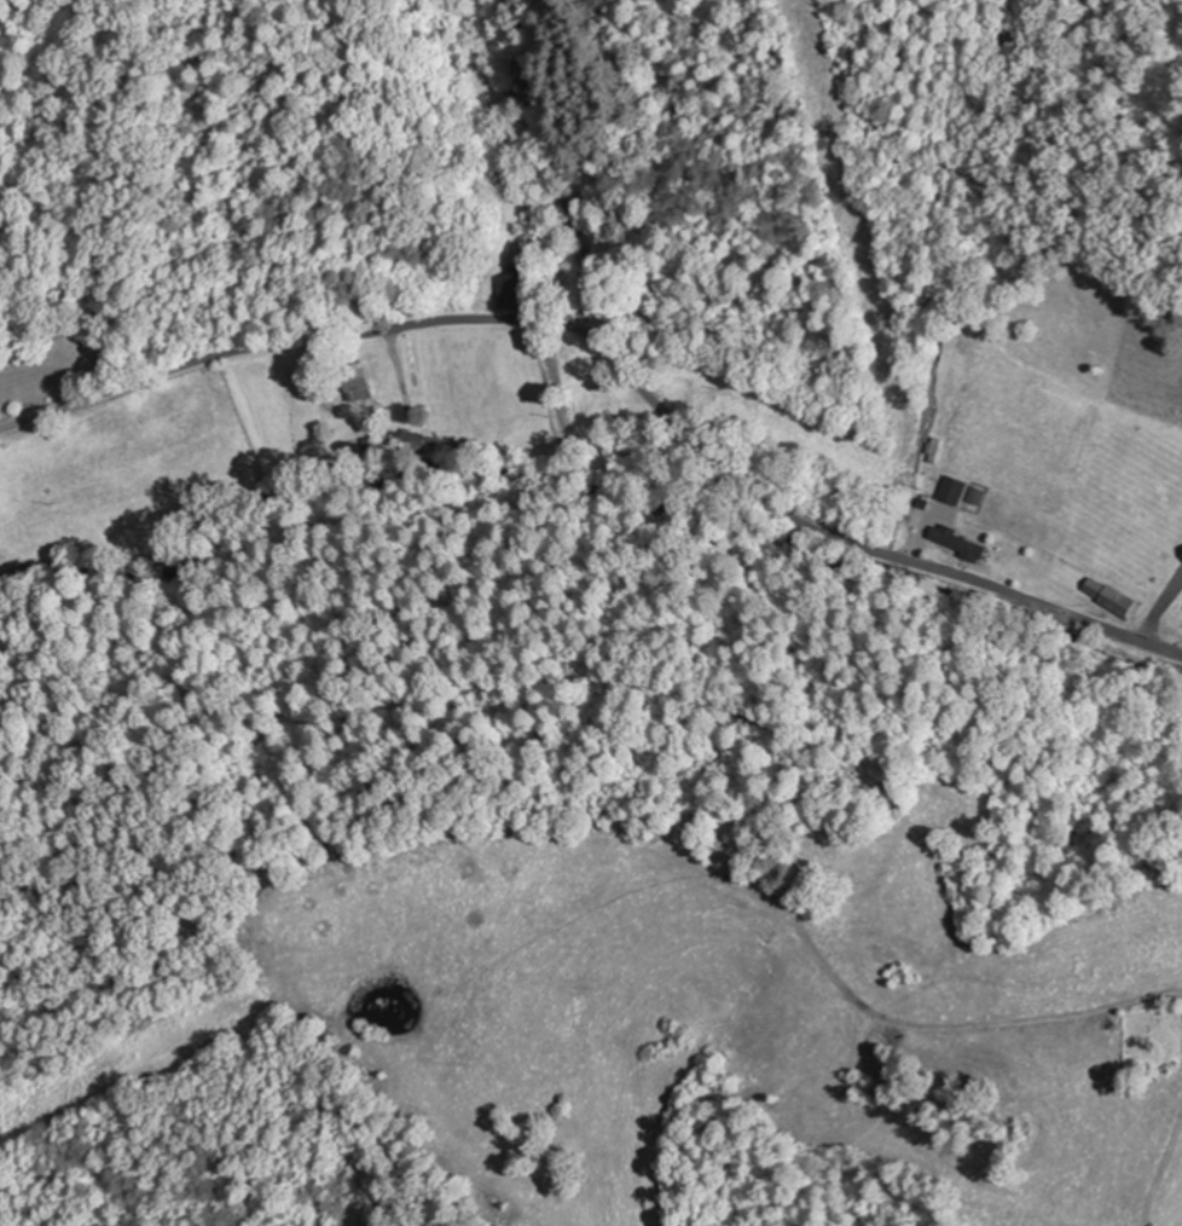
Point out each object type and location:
road: (551, 181)
building: (518, 284)
road: (619, 362)
building: (357, 380)
building: (934, 449)
building: (952, 488)
building: (958, 542)
building: (1112, 597)

